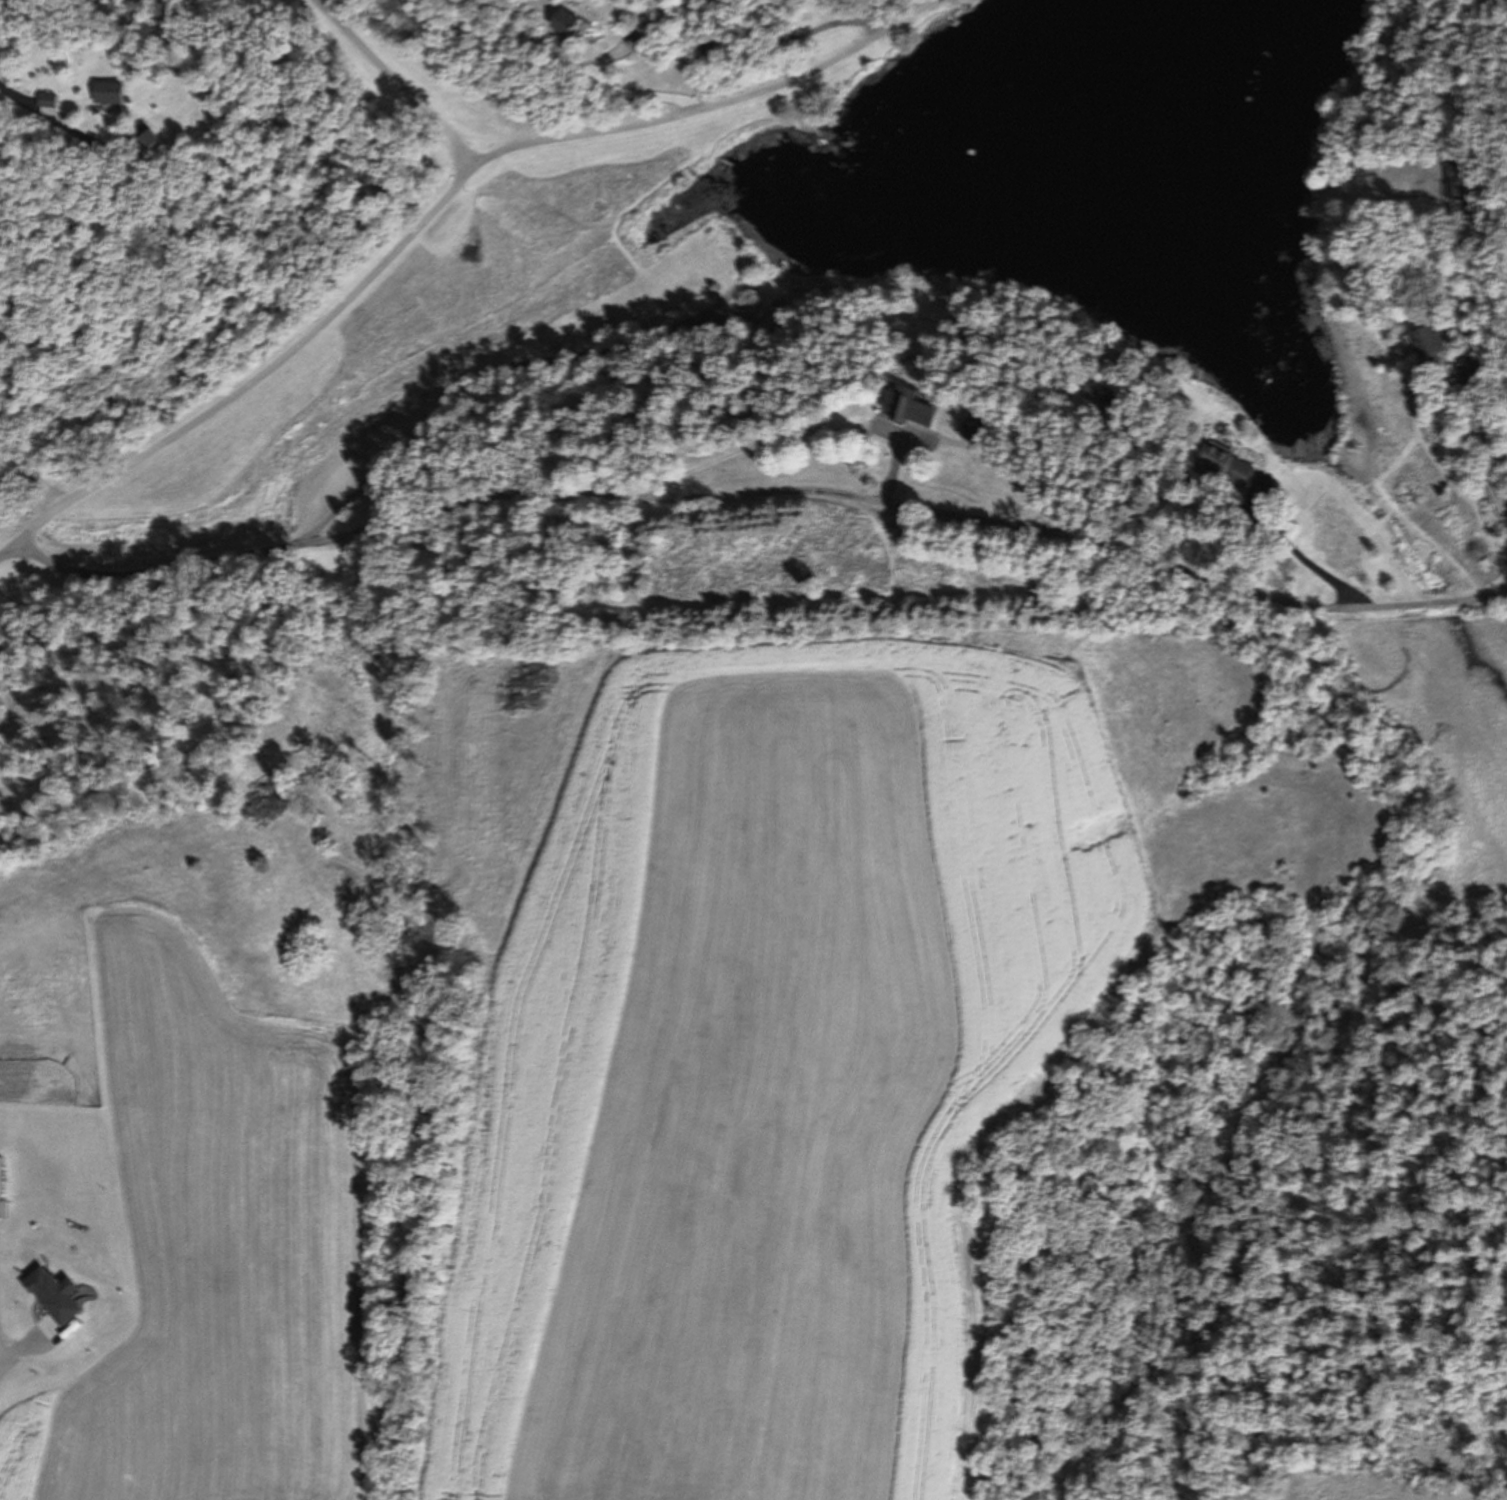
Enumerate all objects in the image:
building: (563, 20)
building: (710, 47)
road: (397, 83)
building: (108, 93)
building: (47, 100)
road: (78, 133)
building: (1469, 181)
road: (432, 210)
building: (1428, 340)
road: (545, 365)
building: (1474, 373)
building: (910, 405)
building: (973, 428)
building: (1226, 463)
road: (764, 495)

